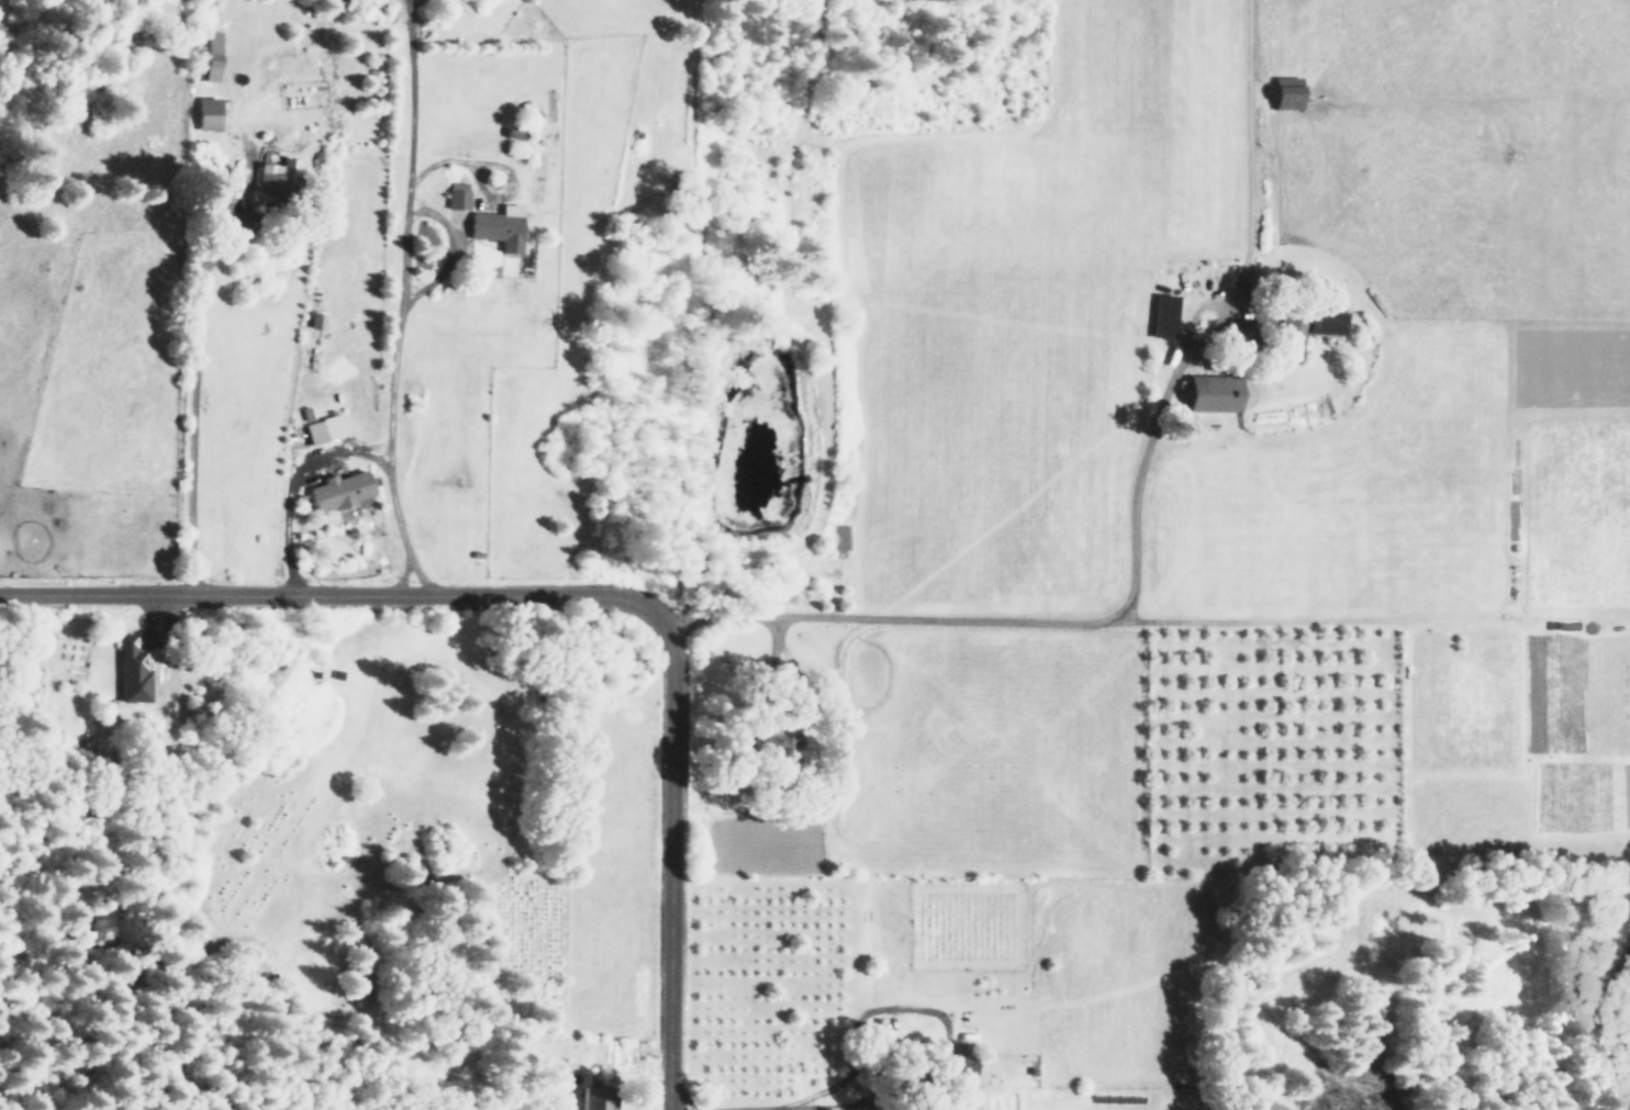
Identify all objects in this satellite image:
building: (211, 56)
building: (1286, 92)
building: (205, 113)
building: (268, 182)
building: (456, 194)
building: (496, 226)
building: (1162, 316)
building: (1325, 323)
building: (1291, 338)
building: (1213, 393)
road: (190, 415)
building: (324, 429)
building: (338, 491)
road: (599, 594)
building: (132, 670)
building: (961, 1061)

